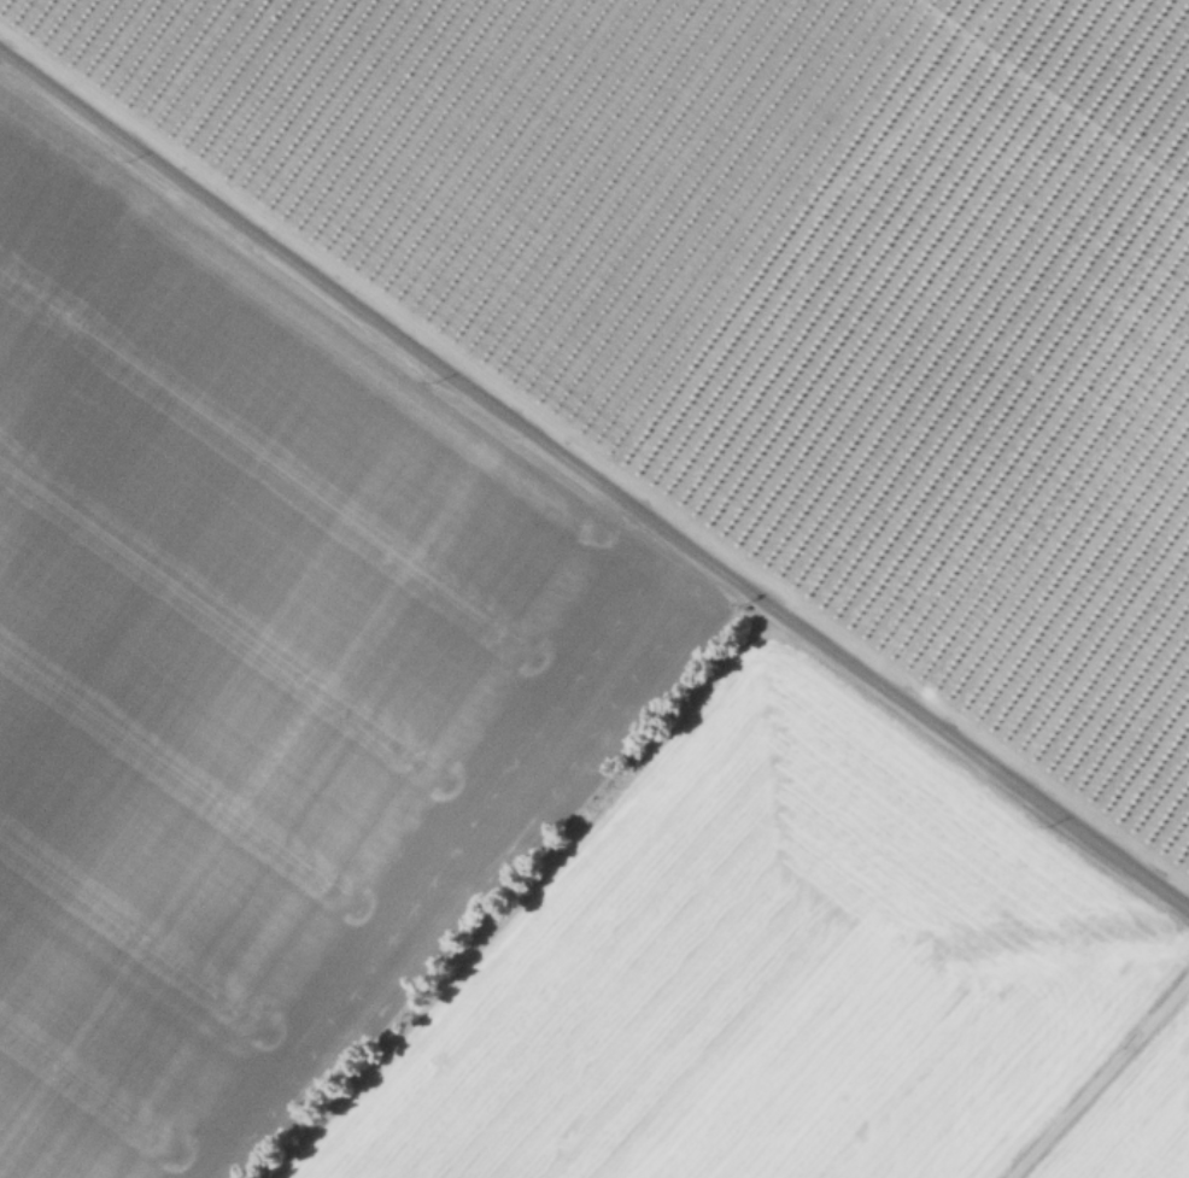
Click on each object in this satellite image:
road: (593, 482)
crop: (594, 588)
road: (1096, 1077)

